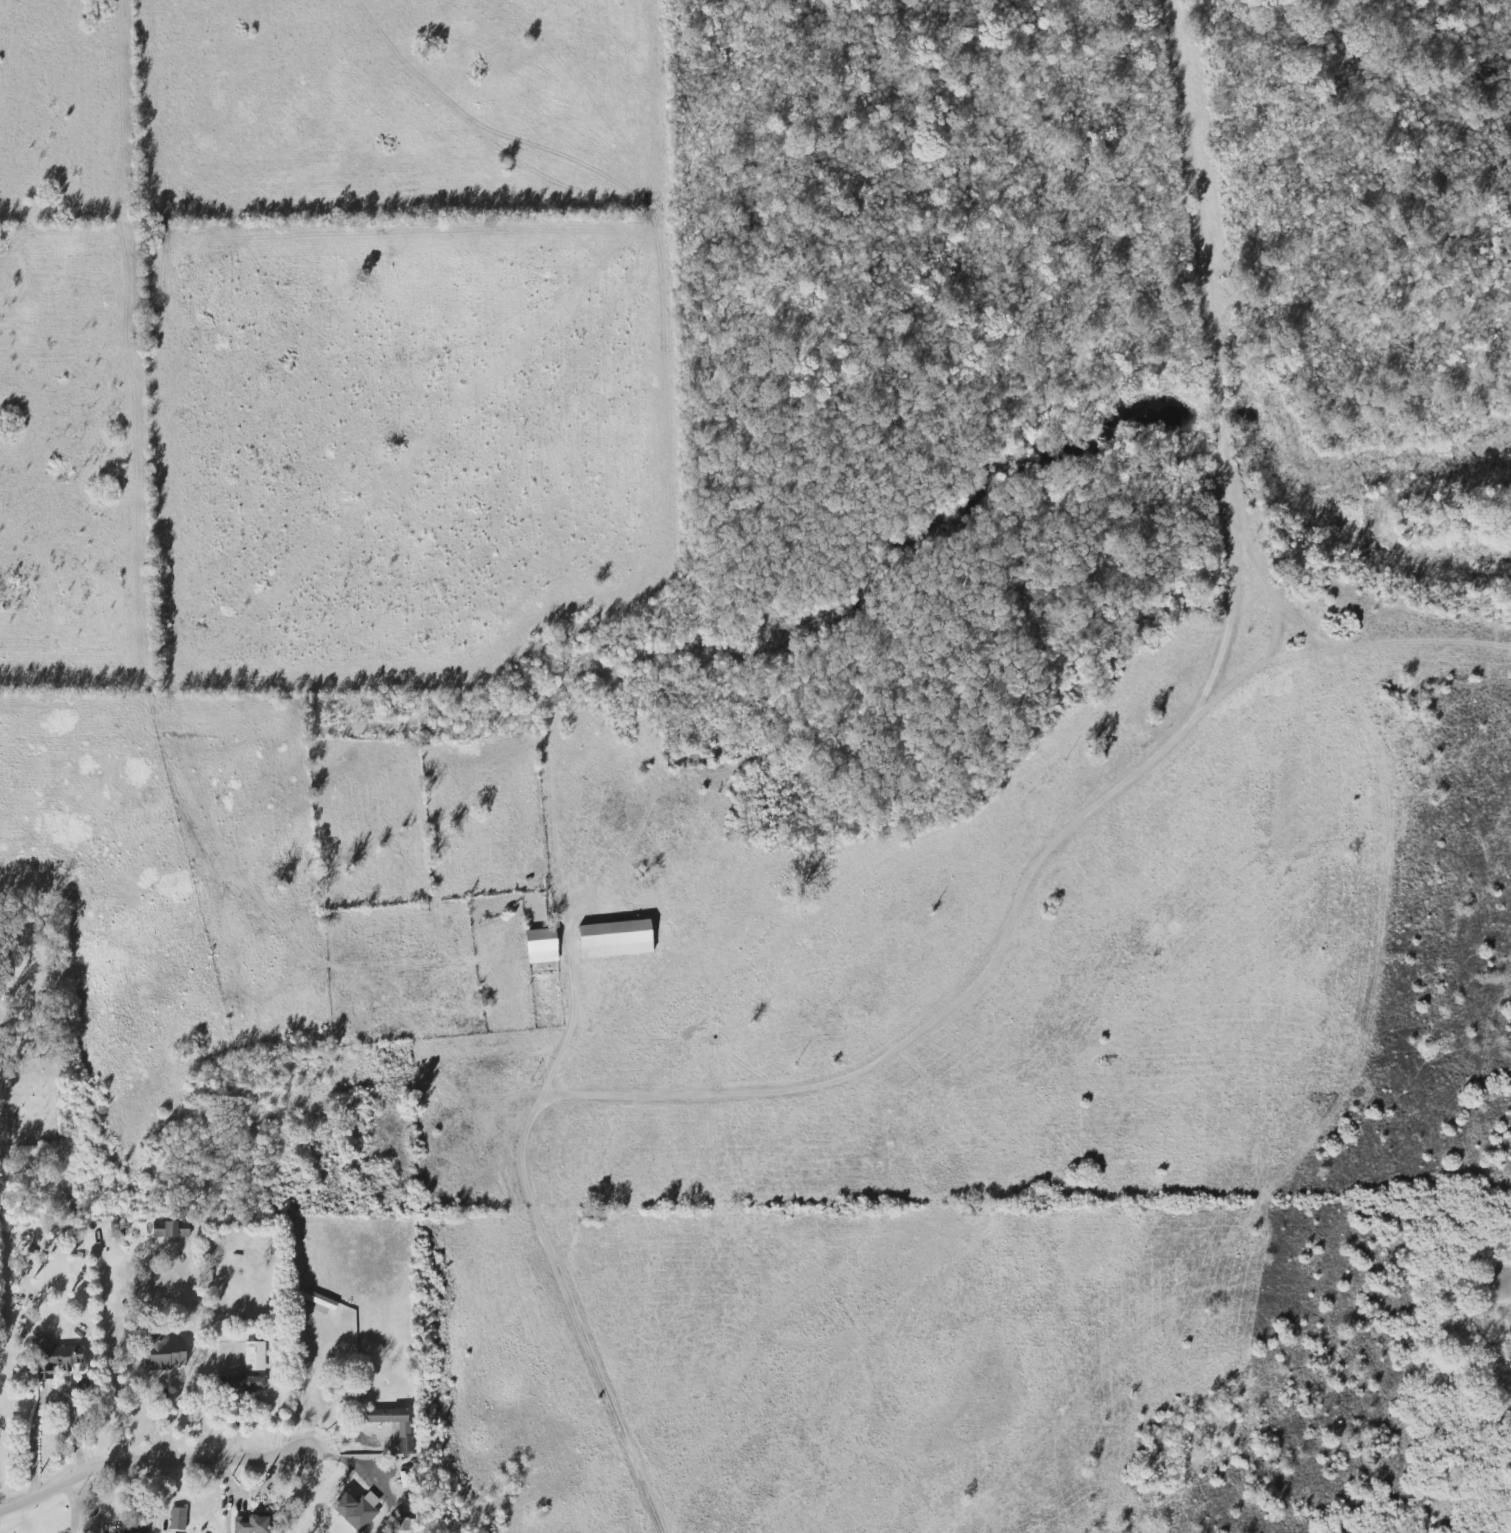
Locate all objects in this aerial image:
road: (1230, 426)
road: (1234, 610)
building: (614, 939)
building: (541, 946)
road: (571, 1028)
road: (800, 1090)
building: (170, 1229)
building: (319, 1302)
building: (164, 1352)
building: (254, 1356)
building: (54, 1358)
building: (244, 1384)
road: (309, 1389)
road: (45, 1401)
building: (404, 1437)
road: (157, 1462)
road: (250, 1492)
road: (72, 1507)
building: (357, 1509)
building: (177, 1519)
building: (251, 1524)
building: (407, 1525)
building: (131, 1530)

